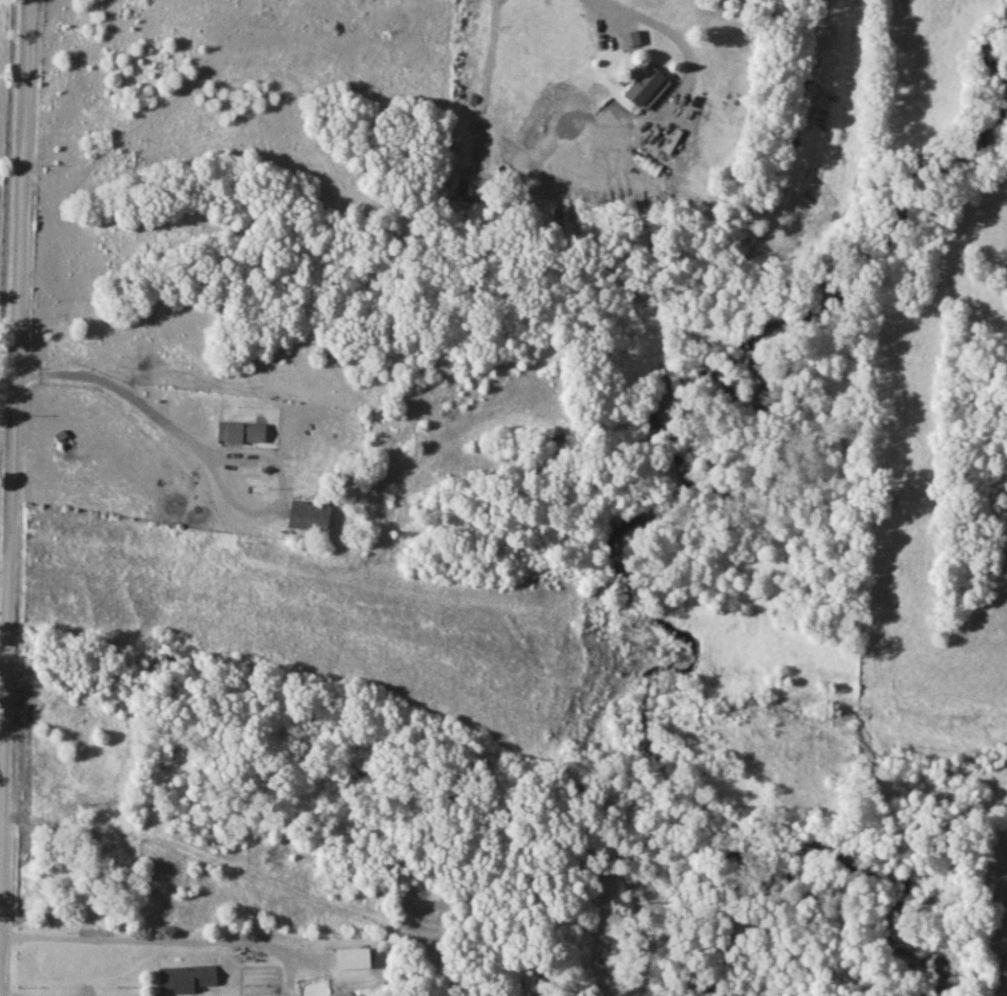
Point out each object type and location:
road: (613, 7)
building: (638, 86)
road: (116, 390)
road: (6, 404)
river: (674, 427)
building: (237, 434)
road: (11, 435)
road: (280, 485)
building: (303, 517)
road: (1, 806)
road: (165, 942)
building: (348, 960)
building: (184, 979)

